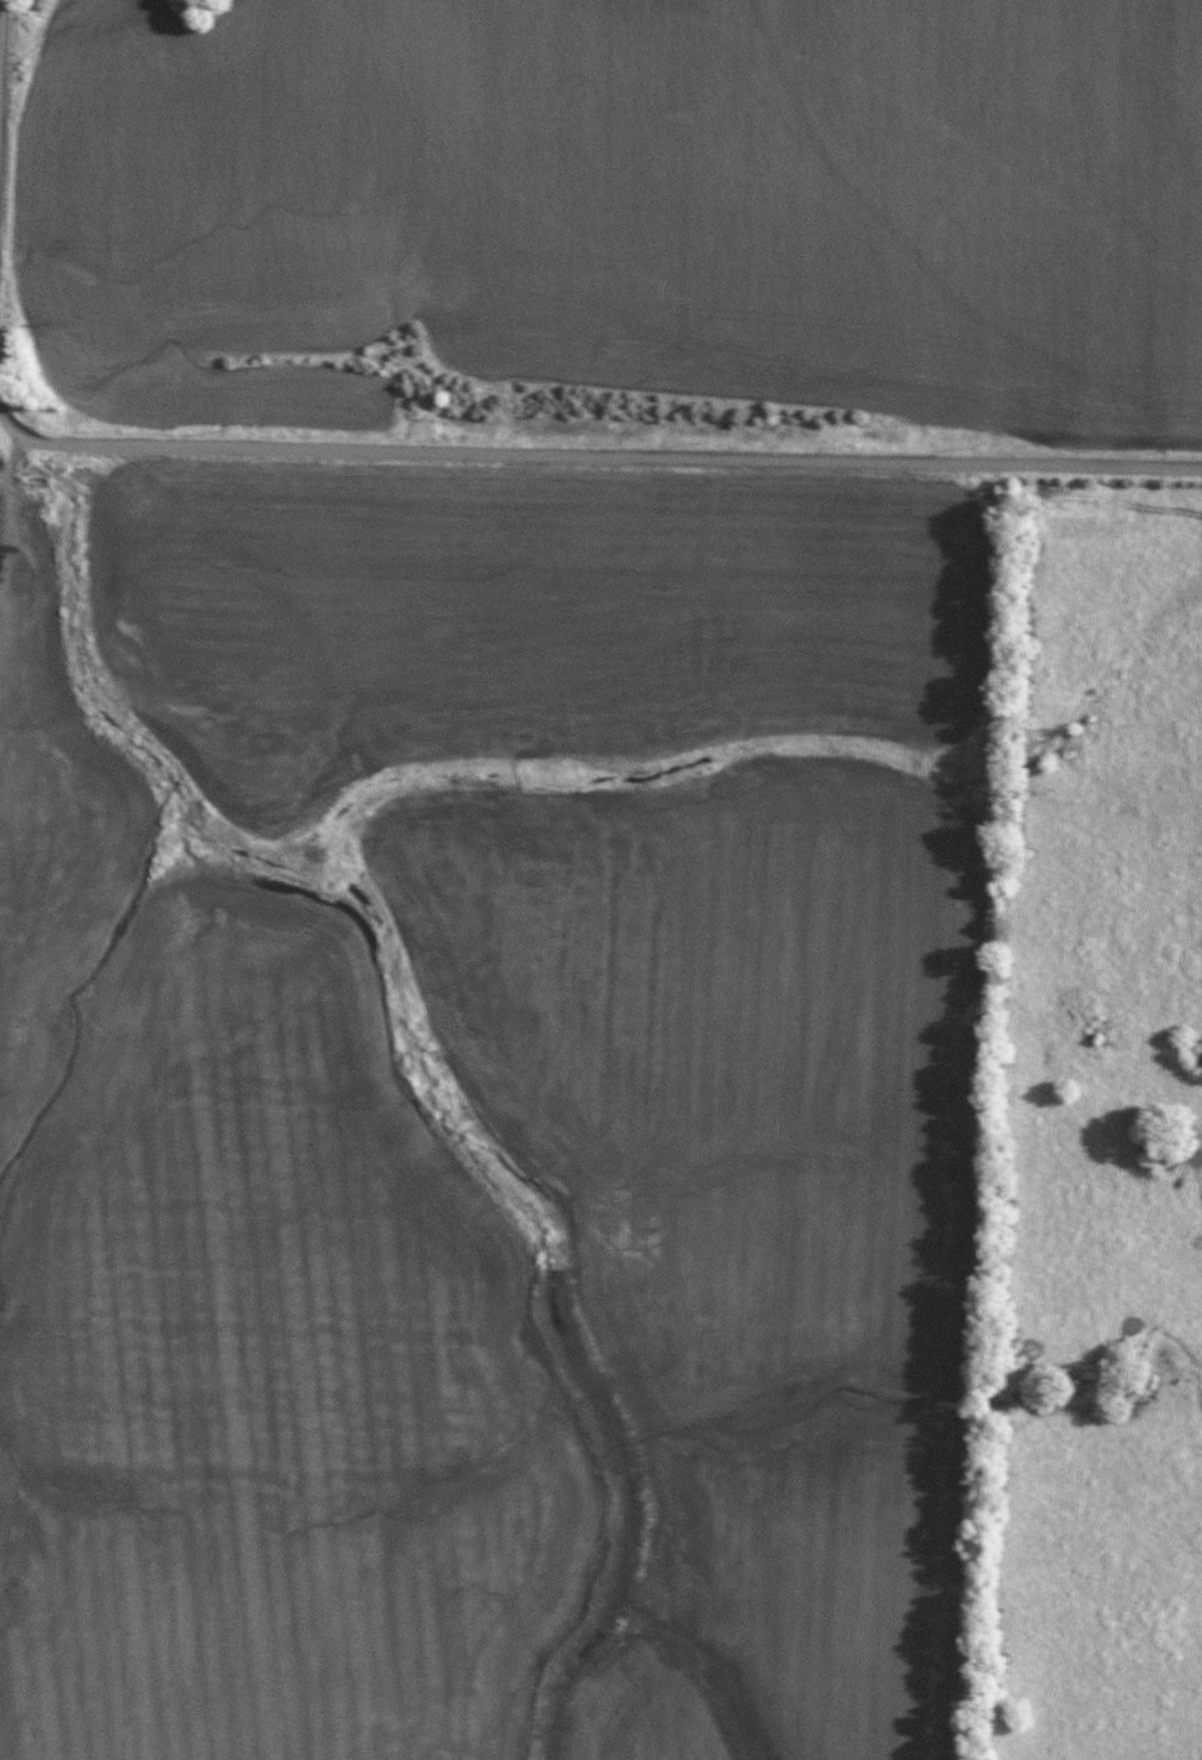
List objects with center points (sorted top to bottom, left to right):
road: (0, 29)
road: (589, 455)
road: (11, 513)

